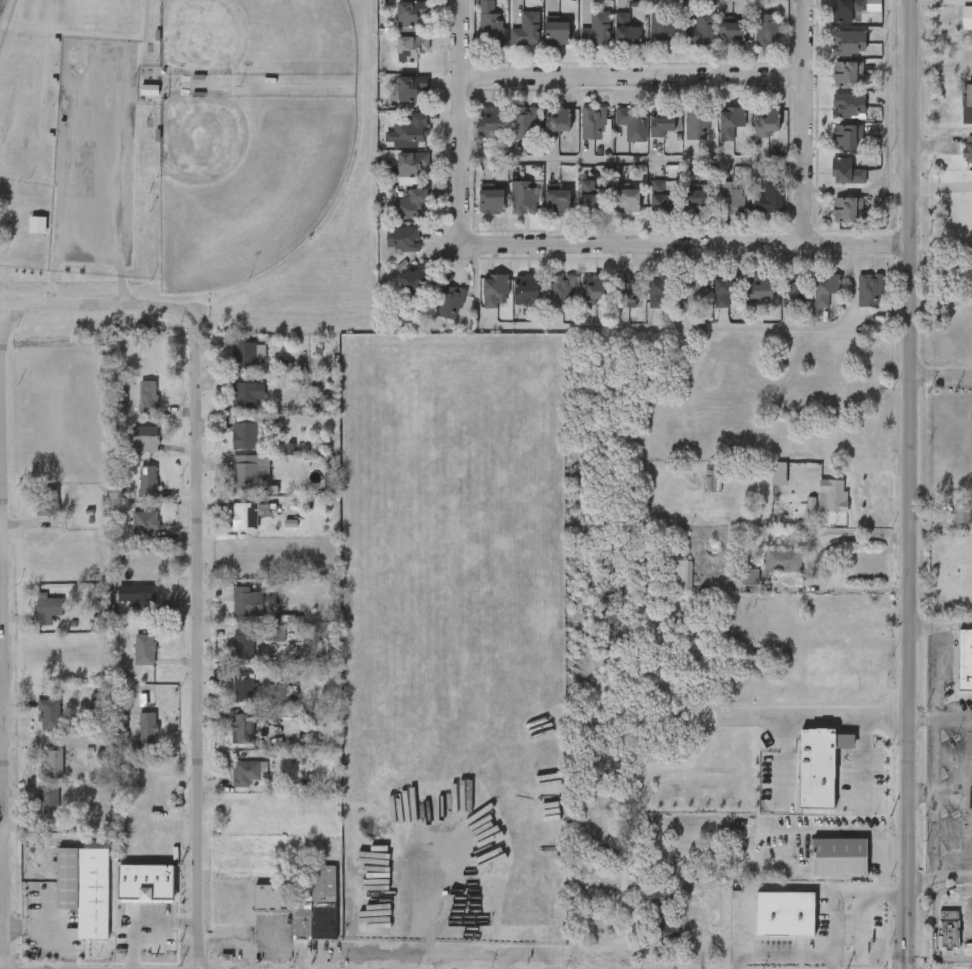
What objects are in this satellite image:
building: (844, 9)
building: (409, 14)
building: (967, 18)
building: (597, 28)
building: (526, 29)
building: (662, 29)
building: (701, 29)
building: (765, 29)
building: (490, 30)
building: (625, 31)
building: (730, 32)
building: (554, 33)
building: (959, 33)
building: (848, 42)
building: (409, 47)
road: (122, 48)
building: (845, 73)
road: (633, 77)
building: (408, 88)
building: (149, 90)
building: (848, 105)
road: (461, 113)
building: (959, 120)
building: (631, 121)
building: (730, 121)
road: (804, 121)
building: (489, 122)
building: (556, 122)
building: (765, 122)
building: (524, 123)
building: (594, 123)
building: (665, 124)
building: (697, 124)
building: (410, 129)
road: (881, 132)
building: (844, 137)
building: (968, 154)
road: (632, 163)
building: (410, 165)
building: (961, 167)
building: (845, 171)
road: (942, 189)
building: (523, 198)
building: (660, 198)
building: (730, 198)
building: (768, 198)
building: (490, 200)
building: (626, 200)
building: (695, 201)
building: (556, 202)
building: (593, 203)
building: (410, 205)
building: (845, 210)
building: (37, 225)
building: (401, 238)
road: (682, 243)
road: (63, 259)
building: (413, 278)
building: (759, 288)
building: (824, 288)
building: (492, 289)
building: (524, 289)
building: (594, 289)
building: (657, 289)
building: (694, 289)
building: (724, 290)
building: (790, 290)
building: (871, 290)
building: (557, 291)
building: (628, 292)
road: (99, 305)
building: (440, 307)
road: (652, 335)
building: (246, 353)
building: (144, 359)
road: (942, 373)
building: (246, 393)
building: (148, 394)
building: (243, 435)
building: (260, 436)
building: (145, 439)
building: (779, 474)
building: (244, 475)
building: (713, 478)
building: (147, 481)
road: (911, 484)
building: (764, 490)
building: (833, 496)
building: (47, 500)
building: (819, 512)
building: (962, 514)
building: (245, 516)
building: (796, 521)
building: (145, 523)
building: (951, 530)
building: (780, 560)
road: (816, 565)
building: (680, 575)
building: (768, 576)
building: (665, 591)
building: (736, 592)
building: (139, 595)
building: (248, 601)
building: (47, 608)
road: (3, 633)
road: (198, 634)
building: (244, 643)
building: (144, 653)
building: (963, 664)
building: (244, 686)
building: (49, 714)
road: (886, 718)
road: (922, 720)
road: (953, 721)
road: (785, 724)
building: (148, 727)
building: (243, 728)
road: (933, 738)
building: (51, 764)
road: (862, 764)
building: (820, 766)
building: (245, 771)
building: (803, 785)
road: (952, 800)
road: (921, 801)
building: (48, 802)
road: (836, 831)
building: (840, 857)
building: (824, 873)
road: (940, 876)
building: (146, 883)
building: (84, 887)
road: (788, 888)
building: (666, 891)
road: (859, 897)
road: (886, 899)
building: (304, 905)
building: (785, 914)
road: (143, 919)
road: (933, 923)
building: (665, 929)
road: (737, 929)
building: (770, 929)
building: (948, 931)
road: (259, 946)
road: (320, 948)
road: (277, 958)
road: (784, 960)

